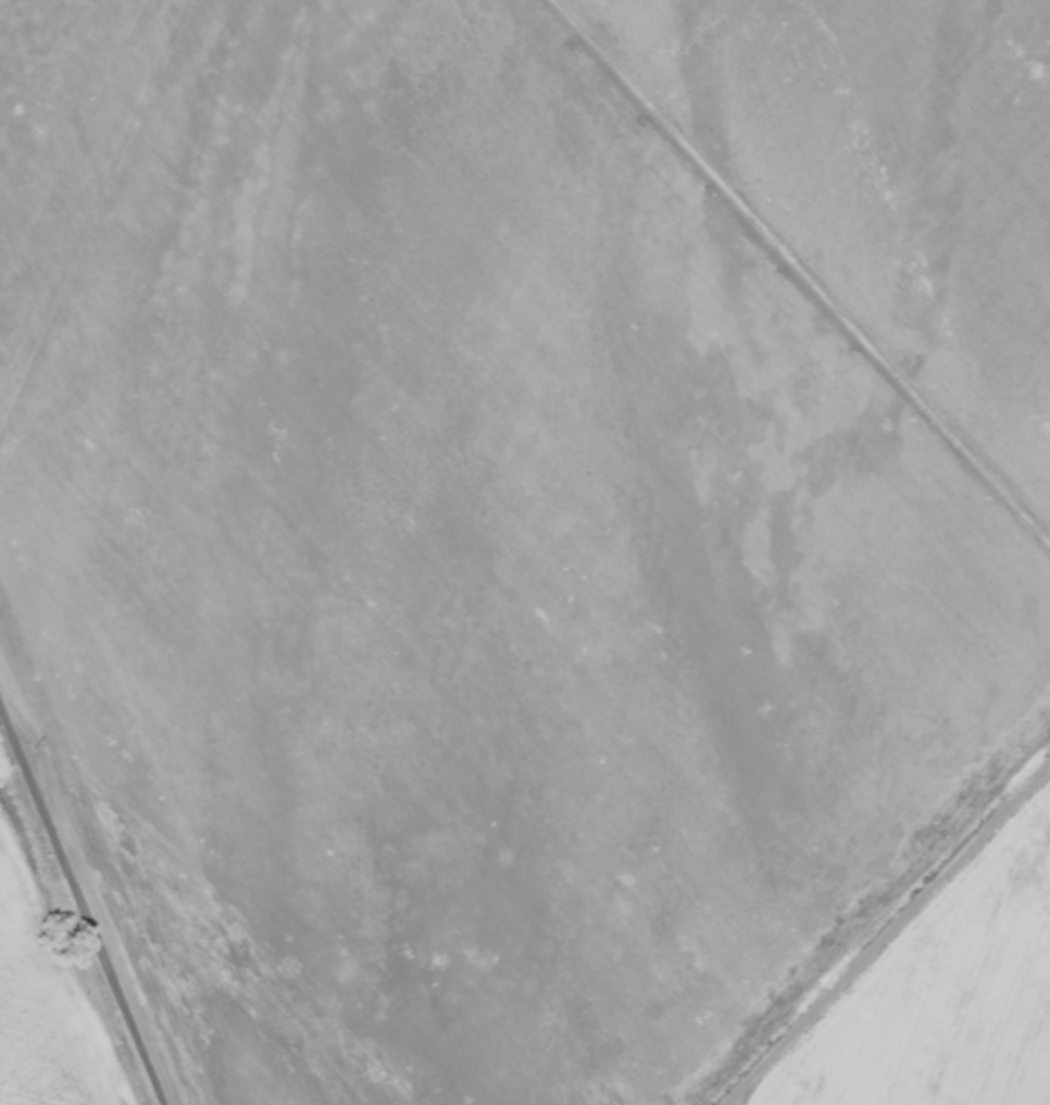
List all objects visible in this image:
crop: (527, 475)
road: (80, 910)

